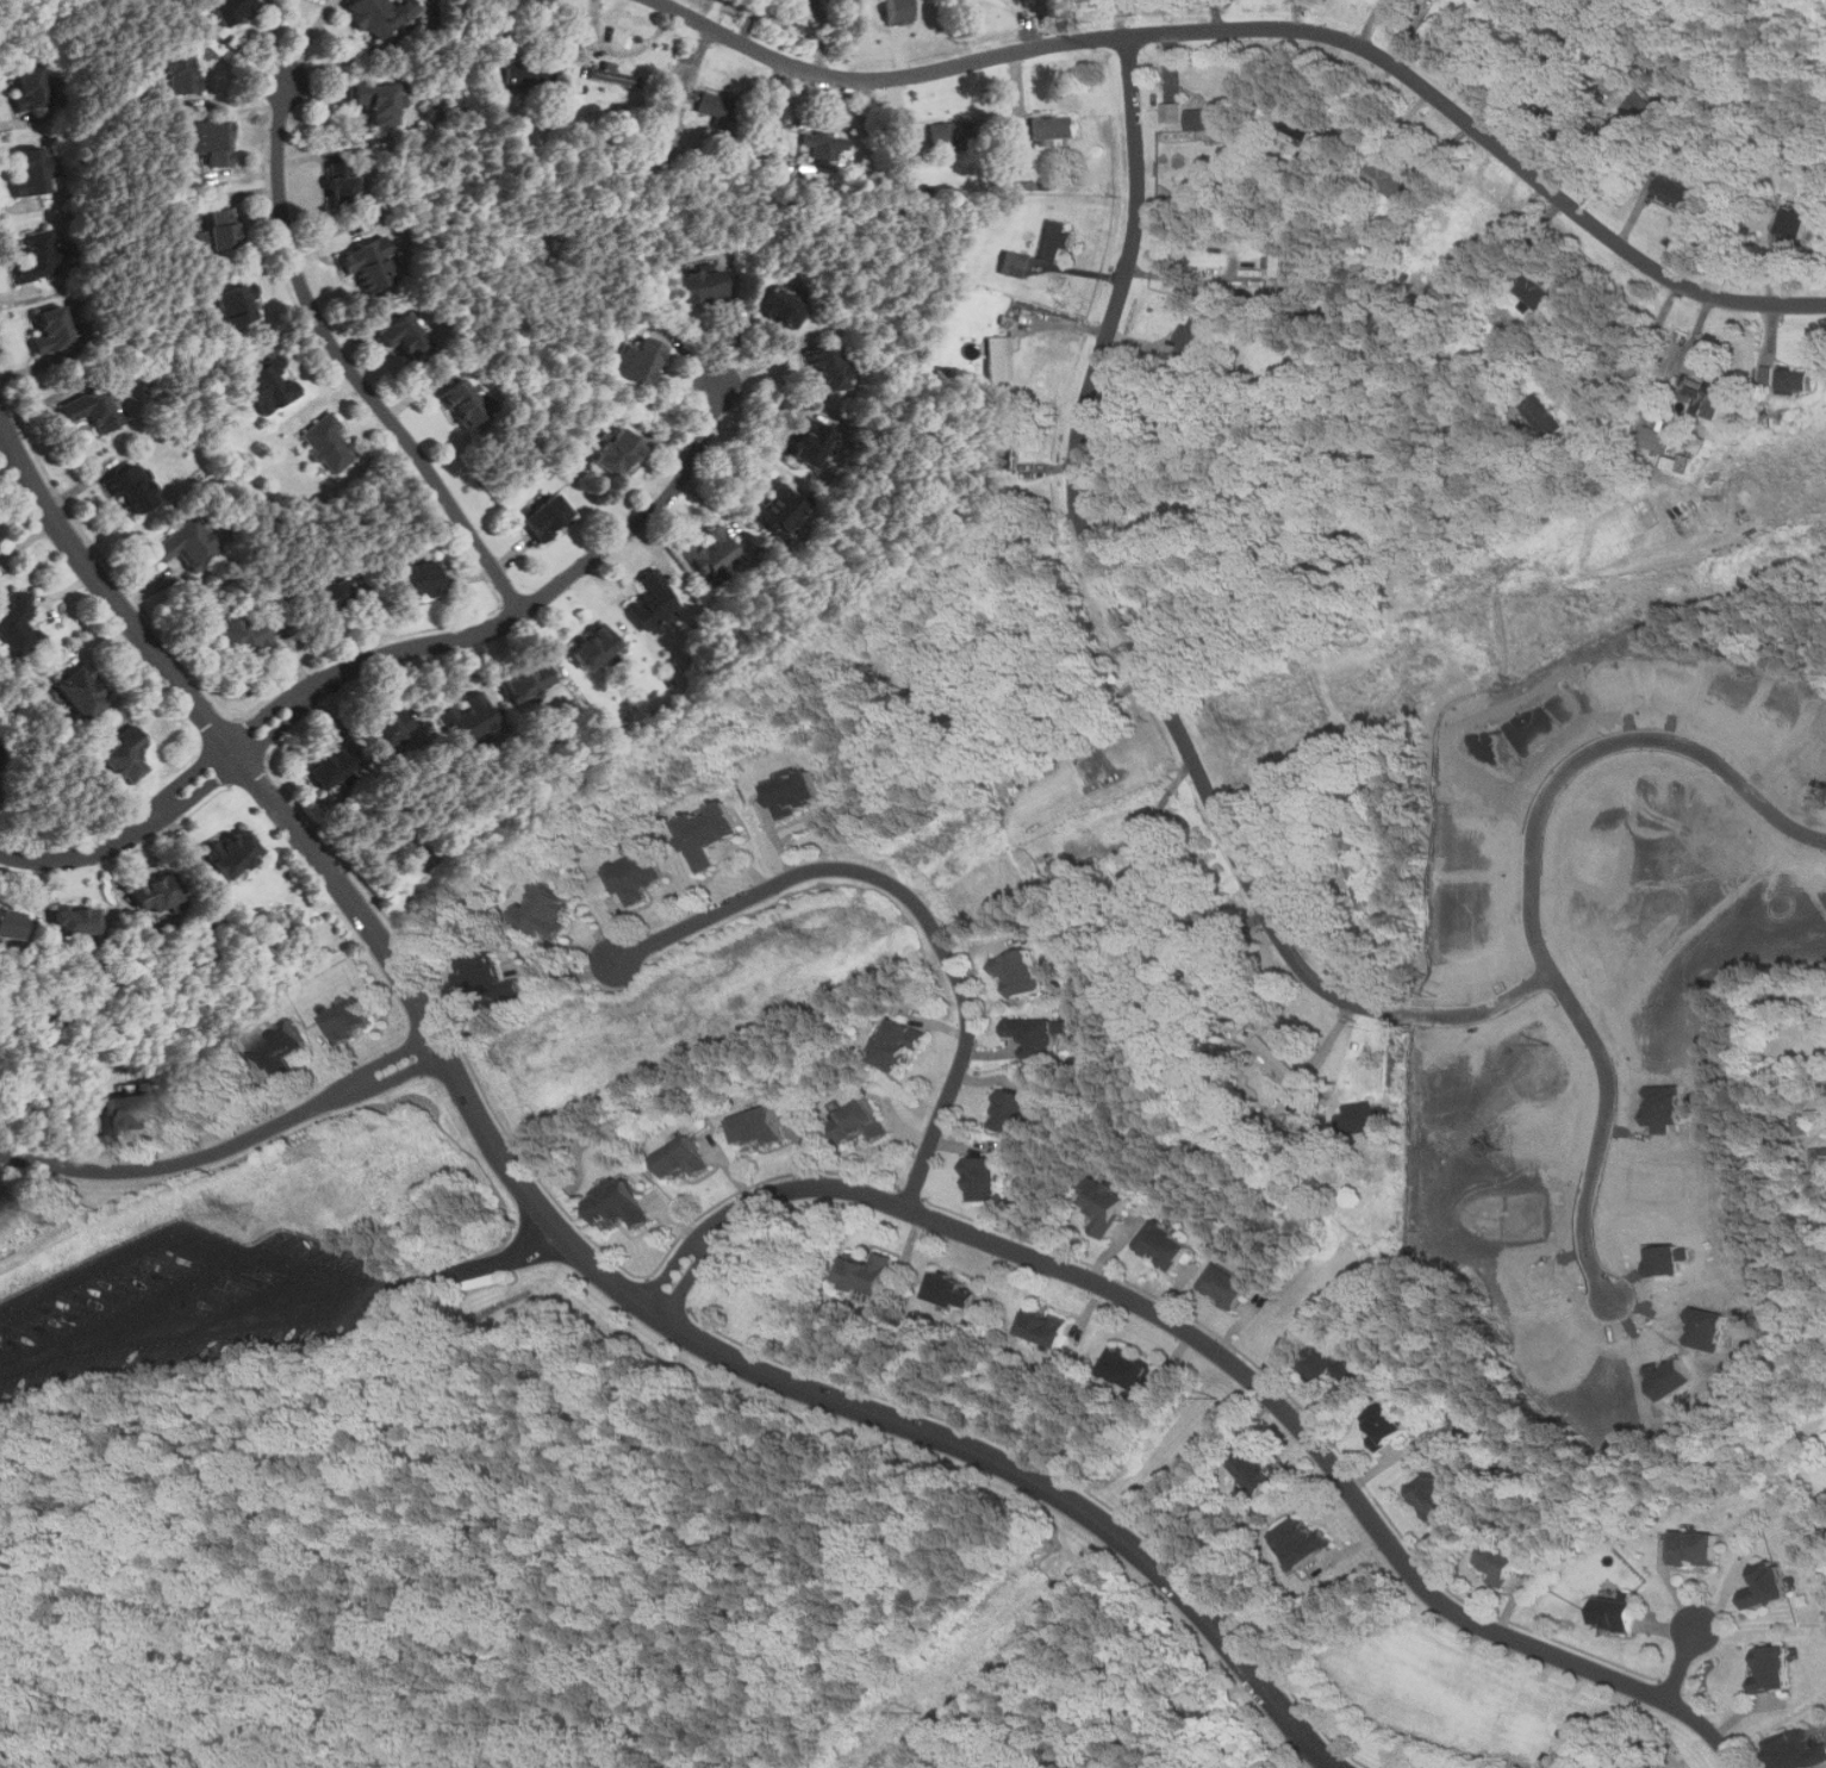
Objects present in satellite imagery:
building: (231, 10)
building: (380, 14)
road: (1120, 18)
road: (1273, 27)
building: (180, 69)
building: (523, 71)
building: (611, 75)
building: (29, 88)
building: (376, 99)
building: (712, 104)
building: (1643, 107)
building: (1172, 111)
building: (1209, 118)
road: (1572, 123)
building: (1053, 129)
building: (946, 133)
building: (213, 141)
building: (822, 145)
building: (31, 172)
building: (342, 182)
building: (1392, 182)
building: (1824, 193)
building: (1681, 194)
building: (1788, 223)
building: (224, 228)
building: (1058, 241)
building: (39, 256)
building: (1277, 259)
building: (1015, 262)
building: (372, 267)
building: (700, 286)
building: (1531, 291)
building: (237, 304)
building: (780, 307)
building: (51, 330)
building: (405, 336)
building: (1199, 336)
building: (1007, 356)
building: (640, 360)
road: (347, 366)
building: (827, 366)
road: (1632, 369)
building: (1794, 380)
building: (270, 386)
building: (1708, 396)
building: (462, 403)
building: (94, 409)
building: (1544, 415)
building: (1166, 435)
building: (1660, 440)
building: (329, 442)
building: (810, 442)
building: (1004, 449)
building: (617, 454)
building: (1679, 462)
building: (131, 488)
building: (777, 510)
building: (546, 516)
building: (189, 544)
building: (709, 553)
road: (1104, 577)
building: (415, 579)
building: (329, 594)
building: (652, 600)
building: (19, 624)
building: (243, 634)
building: (593, 648)
road: (389, 653)
road: (1052, 665)
building: (528, 681)
building: (79, 692)
building: (469, 718)
power tower: (1260, 726)
building: (389, 727)
building: (123, 757)
building: (329, 767)
building: (794, 792)
road: (1158, 810)
building: (710, 834)
building: (231, 853)
building: (637, 876)
building: (1147, 883)
road: (1533, 888)
building: (154, 894)
road: (915, 898)
building: (547, 911)
building: (74, 920)
building: (10, 925)
power tower: (827, 934)
building: (1022, 973)
building: (488, 981)
road: (1484, 1008)
building: (350, 1021)
building: (1037, 1036)
building: (900, 1045)
building: (280, 1046)
building: (1272, 1077)
building: (1015, 1112)
building: (124, 1113)
building: (1361, 1120)
building: (862, 1122)
building: (759, 1128)
road: (228, 1146)
building: (684, 1159)
building: (986, 1179)
building: (621, 1204)
building: (1108, 1206)
power tower: (255, 1210)
building: (1, 1215)
road: (550, 1221)
building: (1167, 1245)
road: (123, 1253)
road: (473, 1269)
road: (318, 1274)
building: (867, 1274)
building: (1229, 1287)
building: (955, 1291)
road: (126, 1315)
road: (241, 1324)
building: (1047, 1327)
road: (1232, 1355)
building: (1333, 1363)
building: (1129, 1369)
building: (1385, 1425)
building: (1260, 1473)
building: (1437, 1498)
building: (1302, 1542)
building: (1697, 1549)
building: (1501, 1562)
building: (1769, 1586)
building: (1619, 1612)
road: (1681, 1661)
building: (1774, 1671)
building: (1799, 1751)

